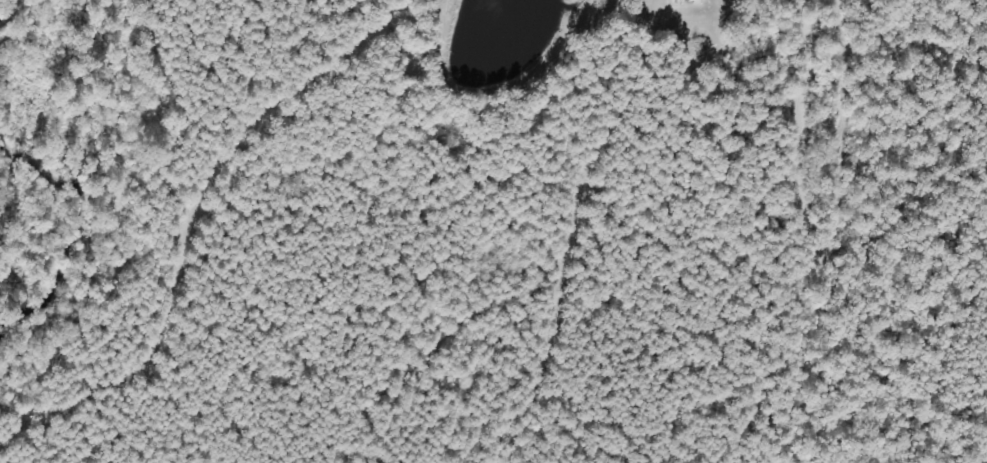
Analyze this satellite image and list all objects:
building: (677, 0)

